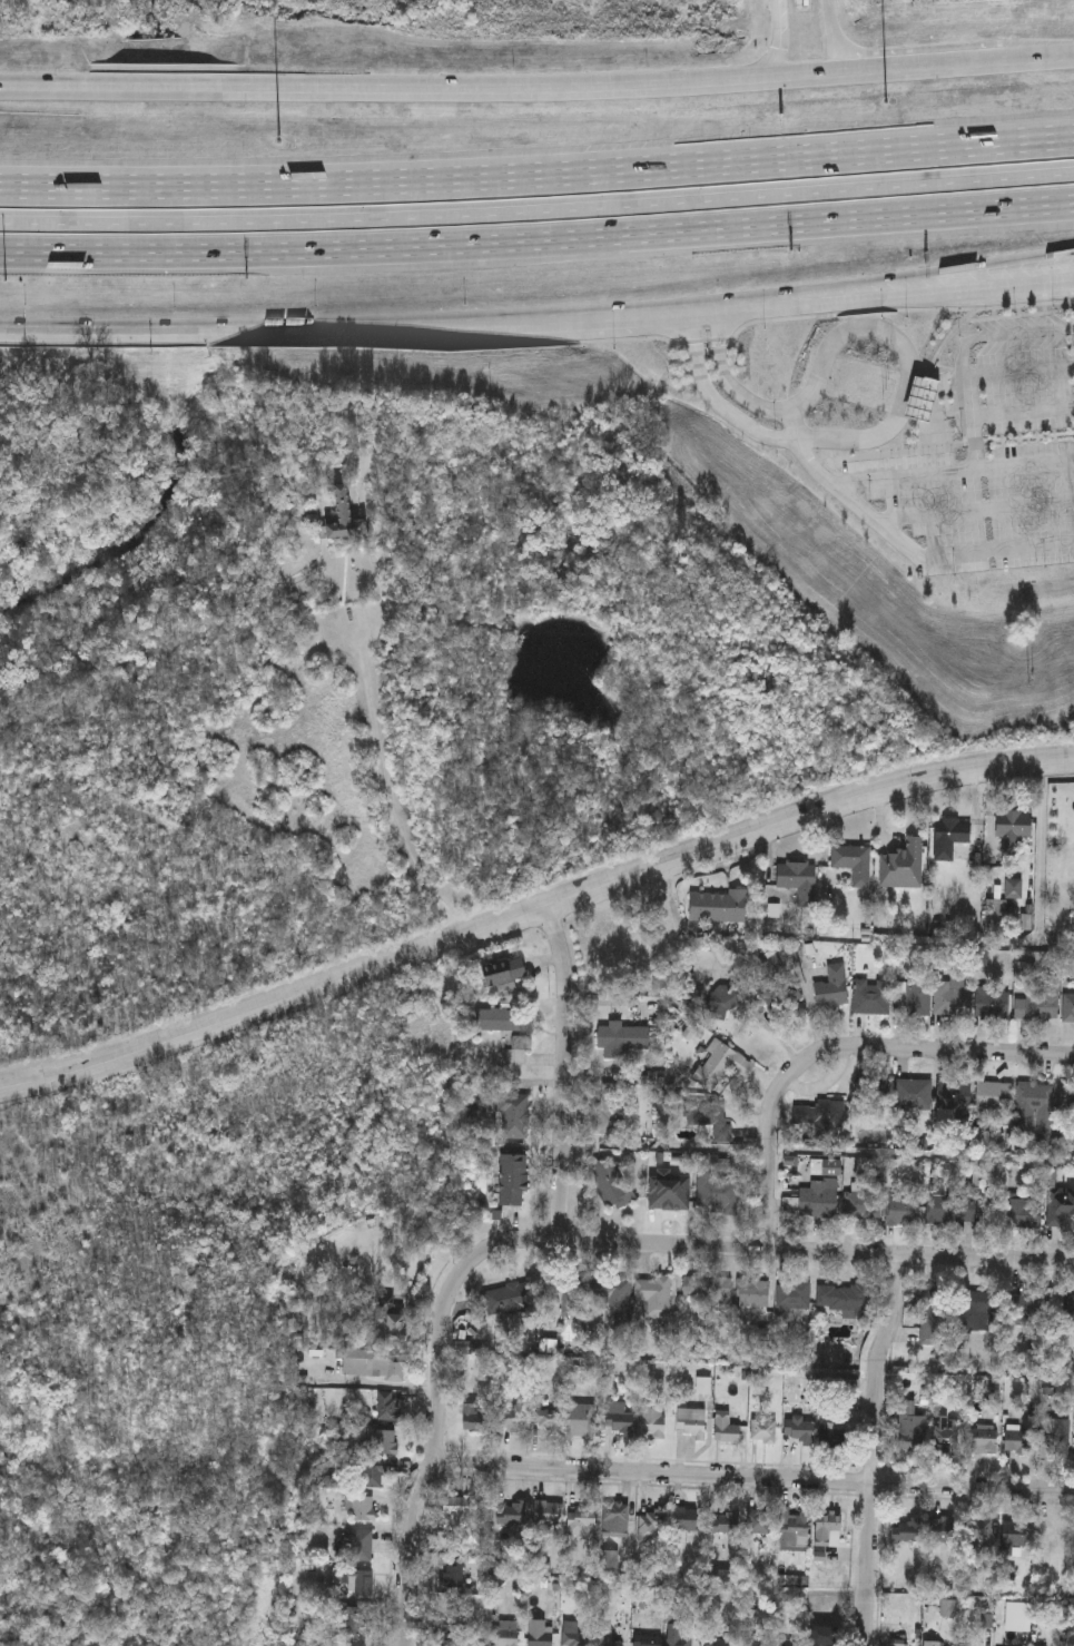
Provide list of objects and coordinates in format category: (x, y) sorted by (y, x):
road: (834, 36)
road: (781, 45)
road: (538, 87)
road: (538, 178)
road: (538, 211)
building: (39, 221)
road: (536, 240)
road: (894, 276)
road: (1072, 280)
road: (1072, 282)
road: (1026, 285)
road: (850, 300)
road: (582, 318)
road: (224, 331)
road: (1004, 335)
road: (907, 356)
road: (972, 374)
road: (728, 380)
road: (715, 397)
road: (1023, 413)
road: (791, 427)
parking lot: (986, 459)
road: (953, 472)
road: (975, 510)
building: (346, 518)
road: (913, 550)
road: (388, 801)
building: (1012, 829)
building: (949, 836)
building: (853, 863)
building: (901, 865)
building: (797, 879)
building: (1013, 888)
building: (716, 906)
road: (533, 913)
building: (494, 972)
building: (830, 988)
building: (778, 995)
building: (870, 996)
building: (950, 997)
building: (716, 998)
building: (910, 998)
building: (1039, 1002)
building: (992, 1004)
building: (1068, 1007)
building: (502, 1019)
building: (619, 1039)
building: (520, 1043)
road: (836, 1047)
building: (718, 1065)
road: (564, 1073)
building: (870, 1093)
building: (912, 1095)
building: (953, 1096)
building: (992, 1096)
building: (611, 1108)
building: (1033, 1108)
building: (1065, 1110)
building: (511, 1116)
building: (822, 1120)
building: (701, 1122)
building: (511, 1180)
building: (609, 1183)
building: (715, 1187)
building: (669, 1190)
building: (817, 1199)
building: (861, 1204)
building: (1058, 1205)
building: (950, 1209)
building: (901, 1210)
building: (1023, 1213)
road: (757, 1252)
building: (707, 1291)
building: (752, 1293)
building: (612, 1294)
building: (653, 1295)
building: (792, 1297)
building: (509, 1298)
building: (564, 1299)
building: (844, 1300)
building: (1029, 1309)
building: (975, 1311)
building: (1068, 1311)
building: (933, 1315)
building: (385, 1321)
building: (372, 1364)
building: (386, 1407)
building: (474, 1418)
building: (618, 1418)
building: (543, 1419)
building: (505, 1420)
building: (579, 1420)
building: (651, 1420)
building: (690, 1422)
building: (910, 1428)
building: (761, 1430)
building: (798, 1431)
building: (946, 1432)
building: (728, 1433)
building: (832, 1433)
building: (1055, 1436)
building: (1016, 1439)
building: (983, 1440)
building: (383, 1442)
road: (875, 1448)
road: (430, 1465)
building: (368, 1475)
road: (752, 1479)
building: (357, 1508)
building: (544, 1512)
building: (510, 1514)
building: (461, 1515)
building: (615, 1518)
building: (683, 1519)
building: (581, 1521)
building: (758, 1521)
building: (723, 1522)
building: (652, 1524)
building: (794, 1529)
building: (827, 1529)
building: (942, 1529)
building: (907, 1530)
building: (978, 1531)
building: (1014, 1537)
building: (359, 1545)
building: (453, 1570)
building: (358, 1581)
building: (1015, 1616)
building: (354, 1619)
building: (504, 1633)
building: (449, 1634)
building: (676, 1635)
building: (824, 1635)
building: (539, 1638)
building: (573, 1638)
building: (605, 1638)
building: (646, 1639)
building: (717, 1642)
building: (788, 1642)
building: (753, 1643)
building: (900, 1643)
building: (355, 1644)

